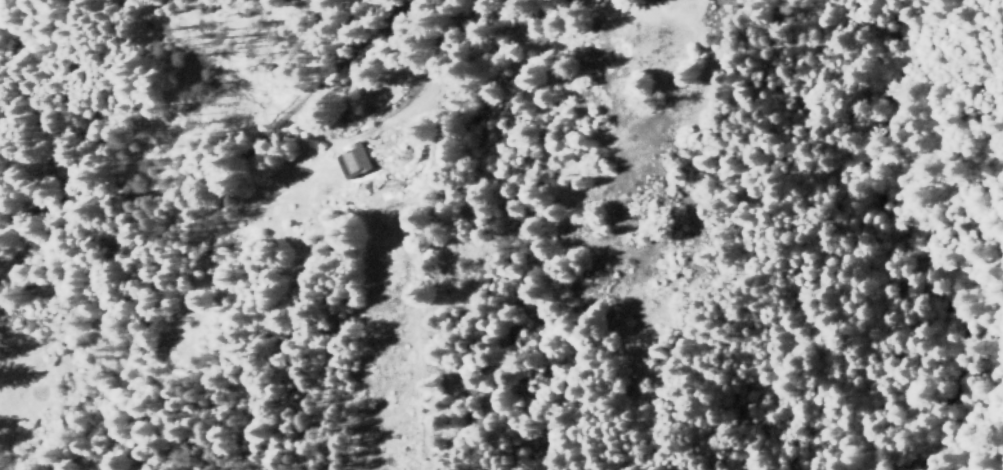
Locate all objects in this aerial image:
building: (657, 0)
road: (227, 153)
building: (349, 159)
road: (955, 413)

